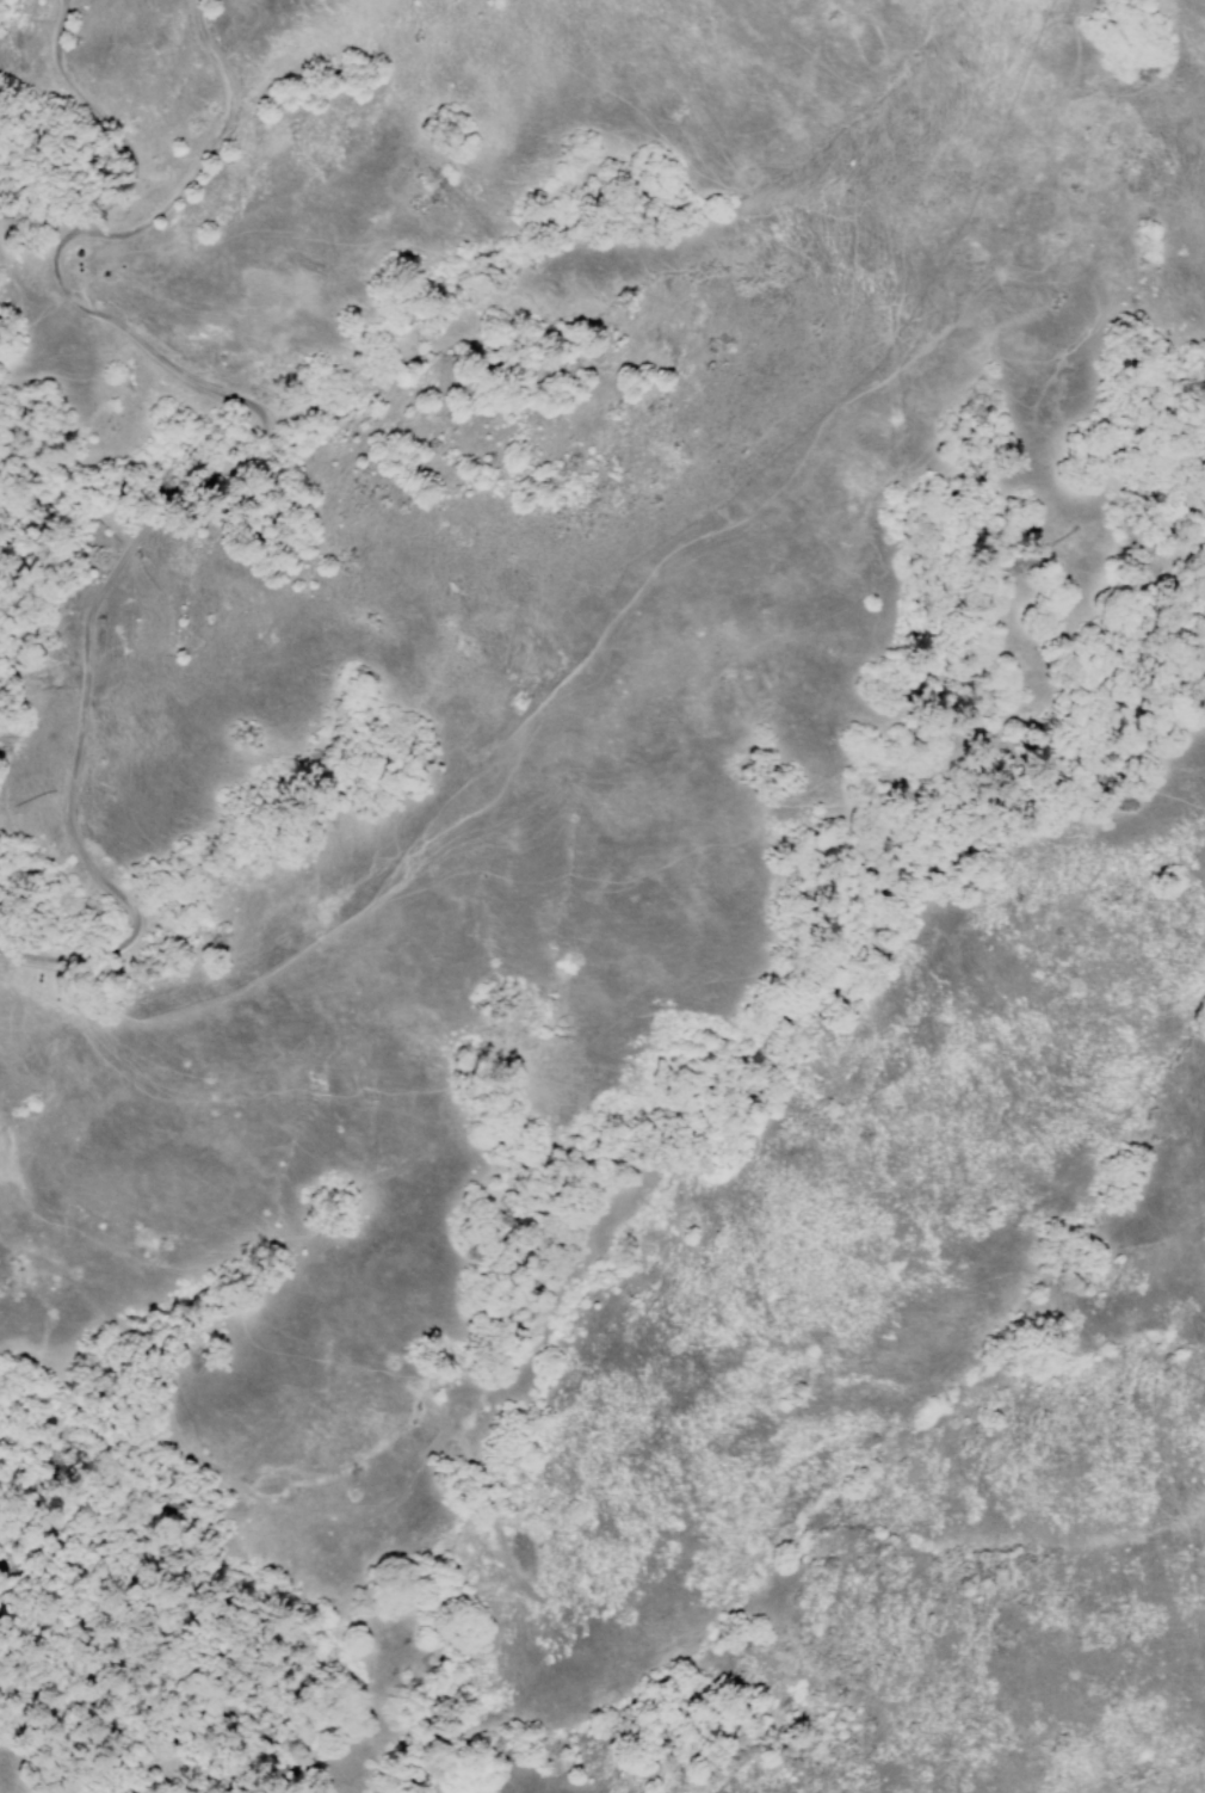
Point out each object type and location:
road: (304, 509)

